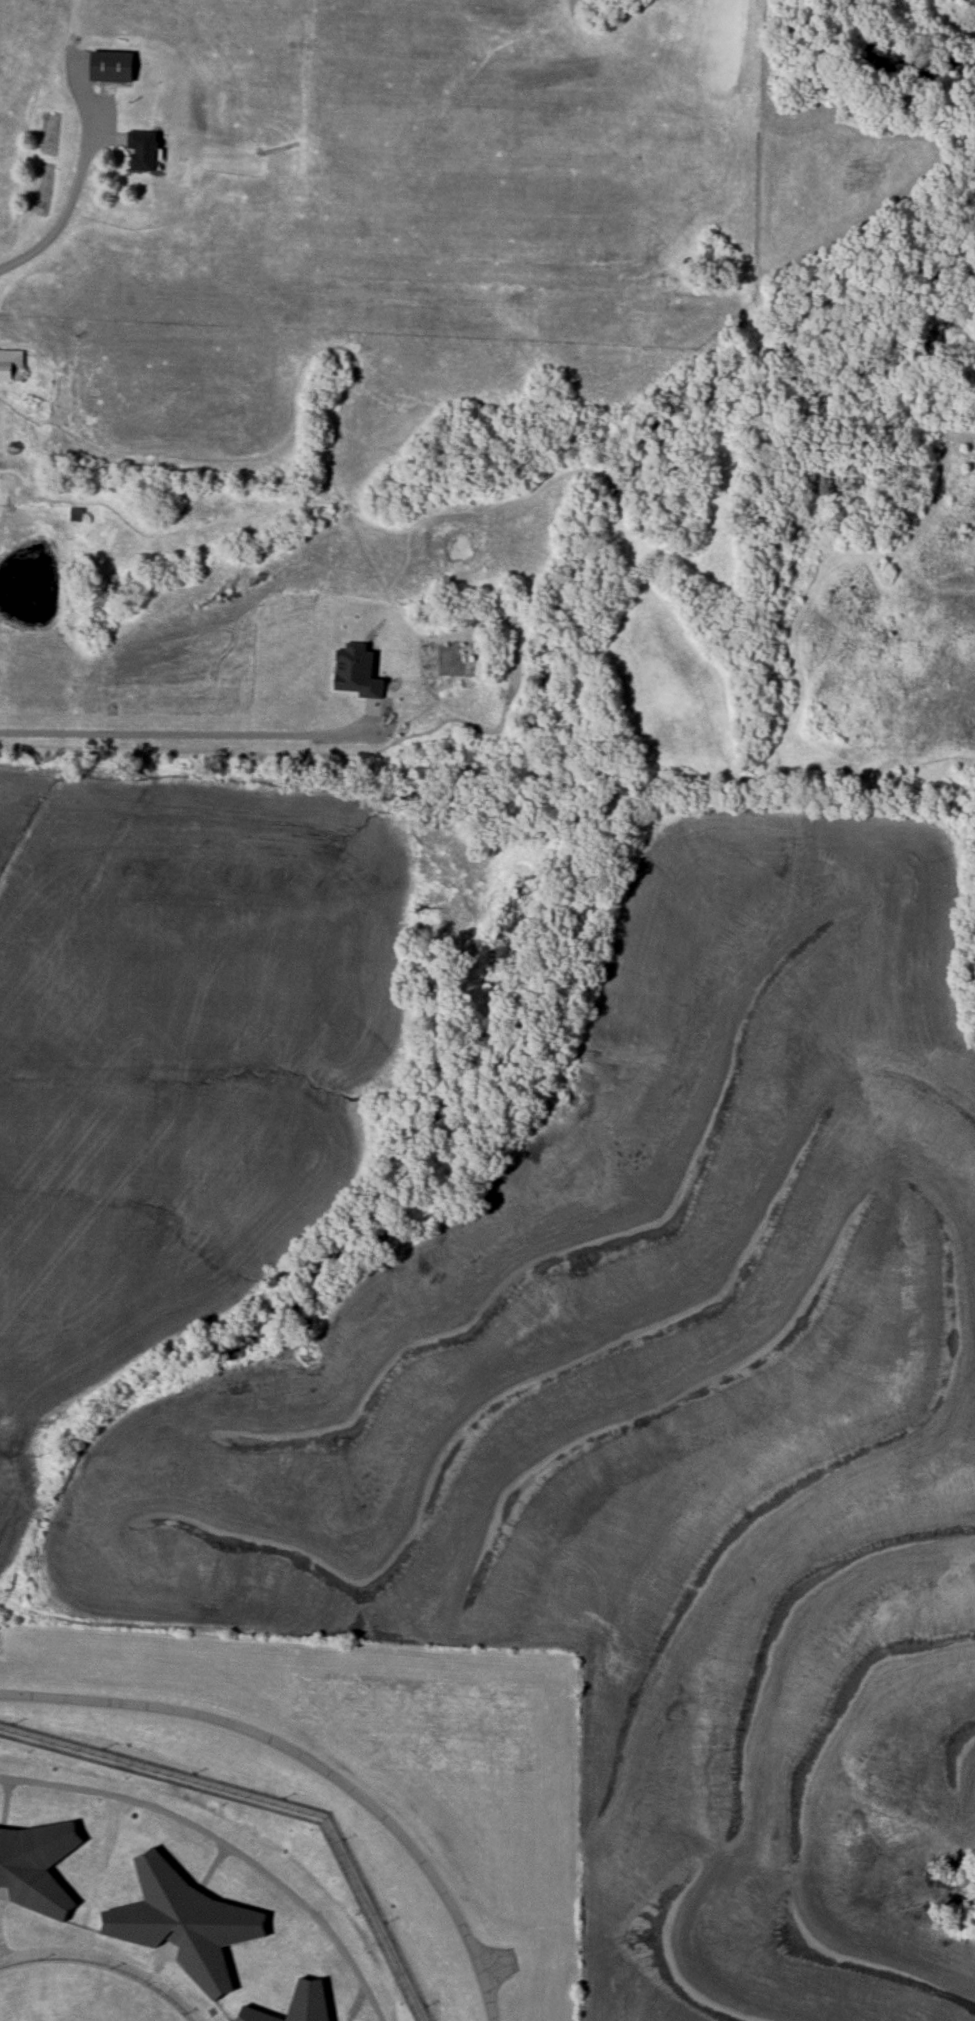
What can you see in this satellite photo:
river: (896, 64)
building: (112, 66)
building: (143, 151)
road: (67, 211)
building: (11, 366)
road: (194, 733)
road: (313, 1763)
road: (223, 1846)
building: (37, 1864)
road: (0, 1887)
building: (183, 1921)
road: (2, 1951)
road: (159, 1959)
road: (107, 1960)
road: (497, 1961)
park: (75, 1995)
building: (292, 2006)

